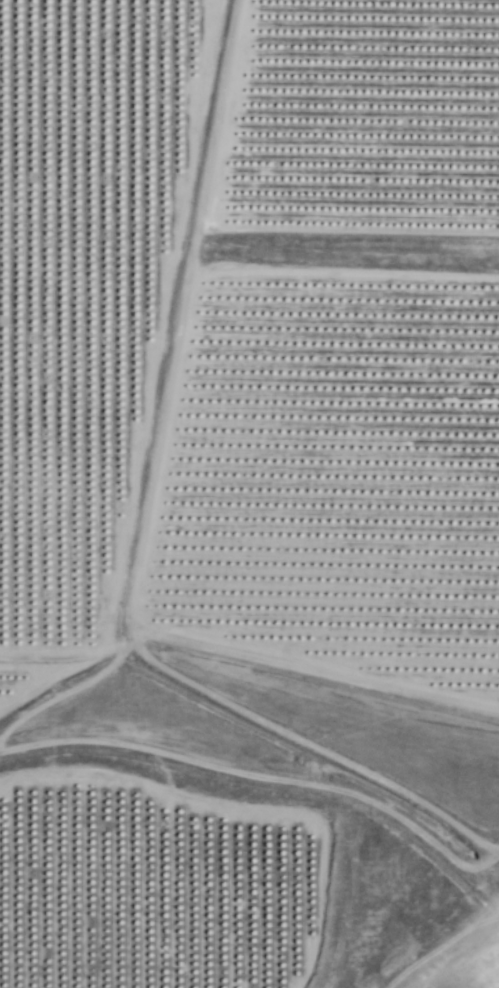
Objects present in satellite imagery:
road: (183, 317)
road: (318, 671)
road: (312, 748)
road: (246, 773)
road: (486, 866)

